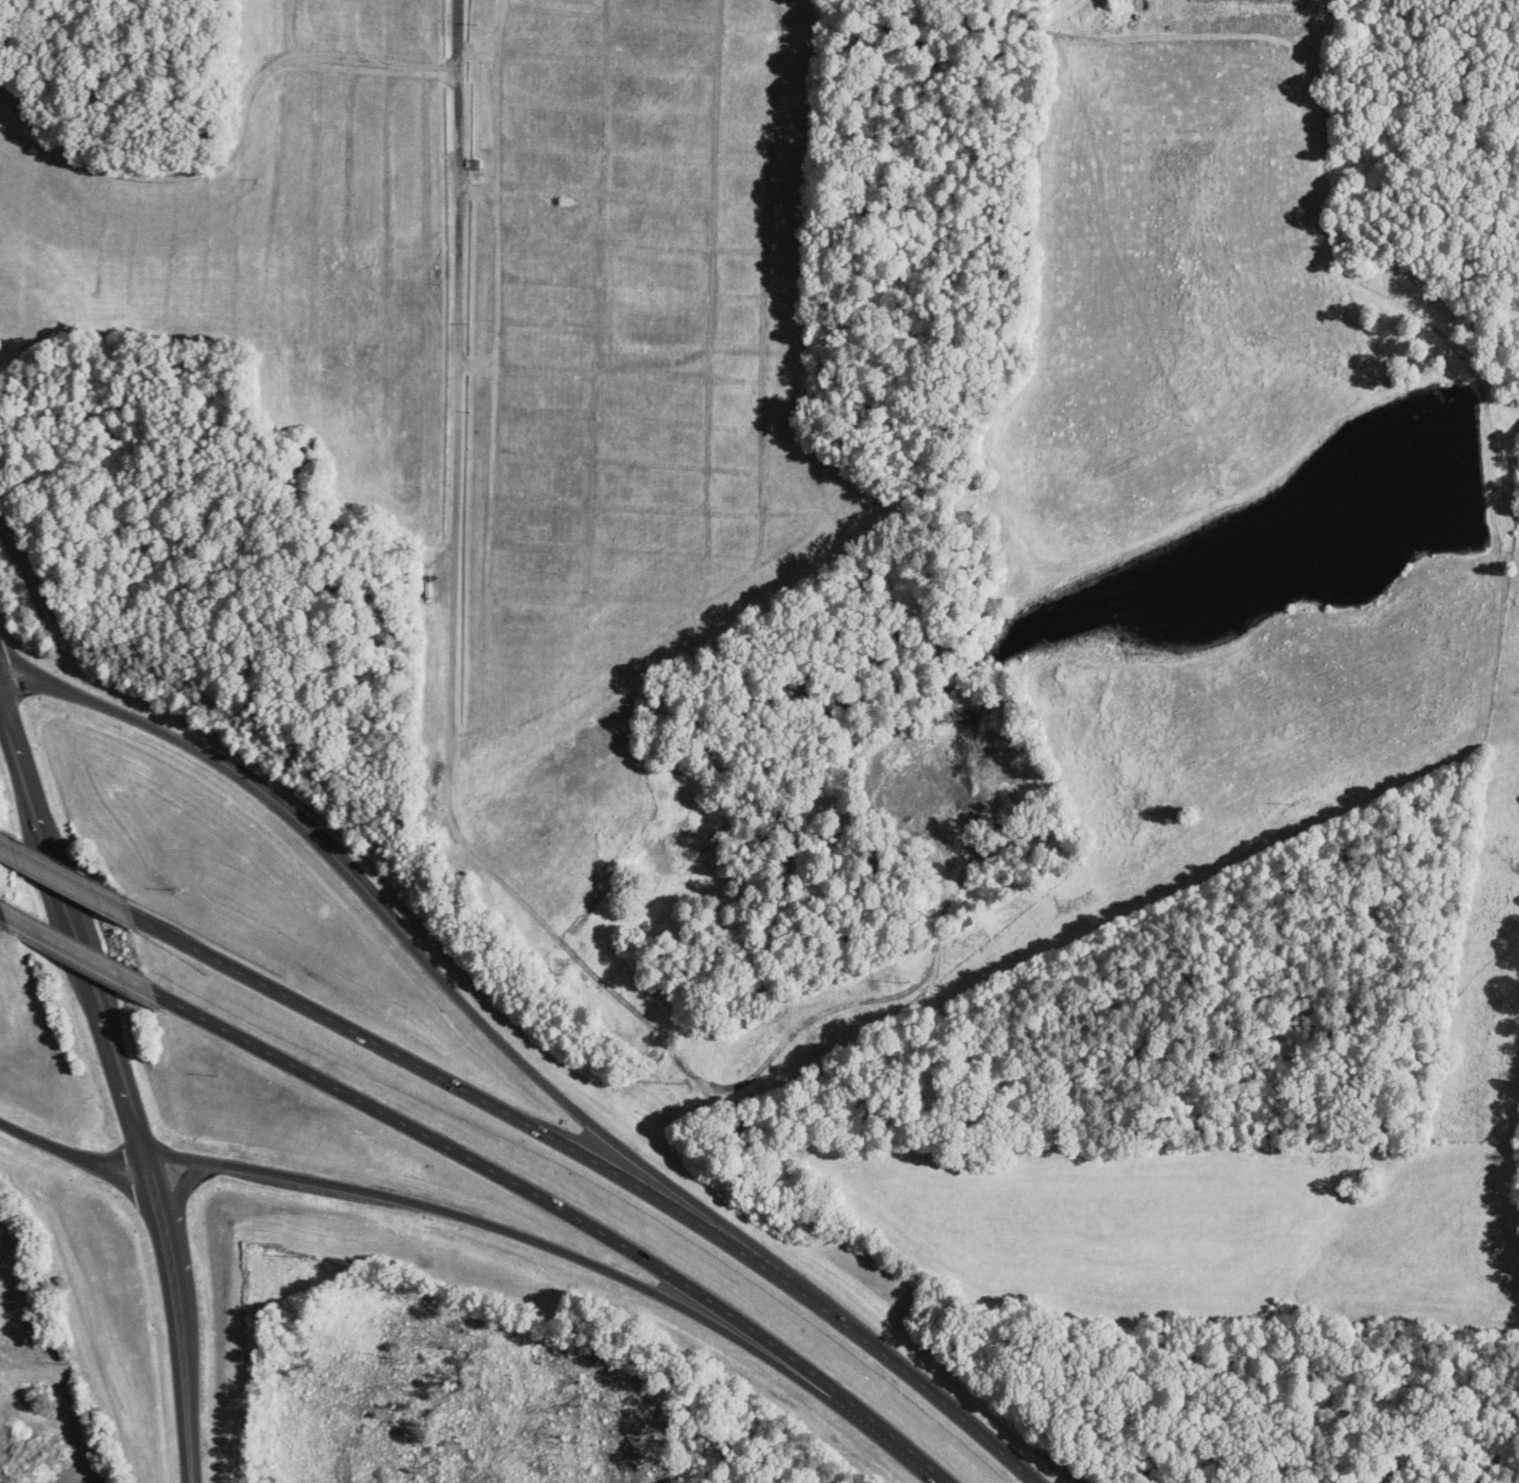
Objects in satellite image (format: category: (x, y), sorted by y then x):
road: (793, 9)
road: (456, 381)
road: (64, 881)
road: (6, 915)
road: (414, 938)
road: (82, 955)
road: (133, 1071)
road: (609, 1166)
road: (403, 1194)
road: (571, 1212)

